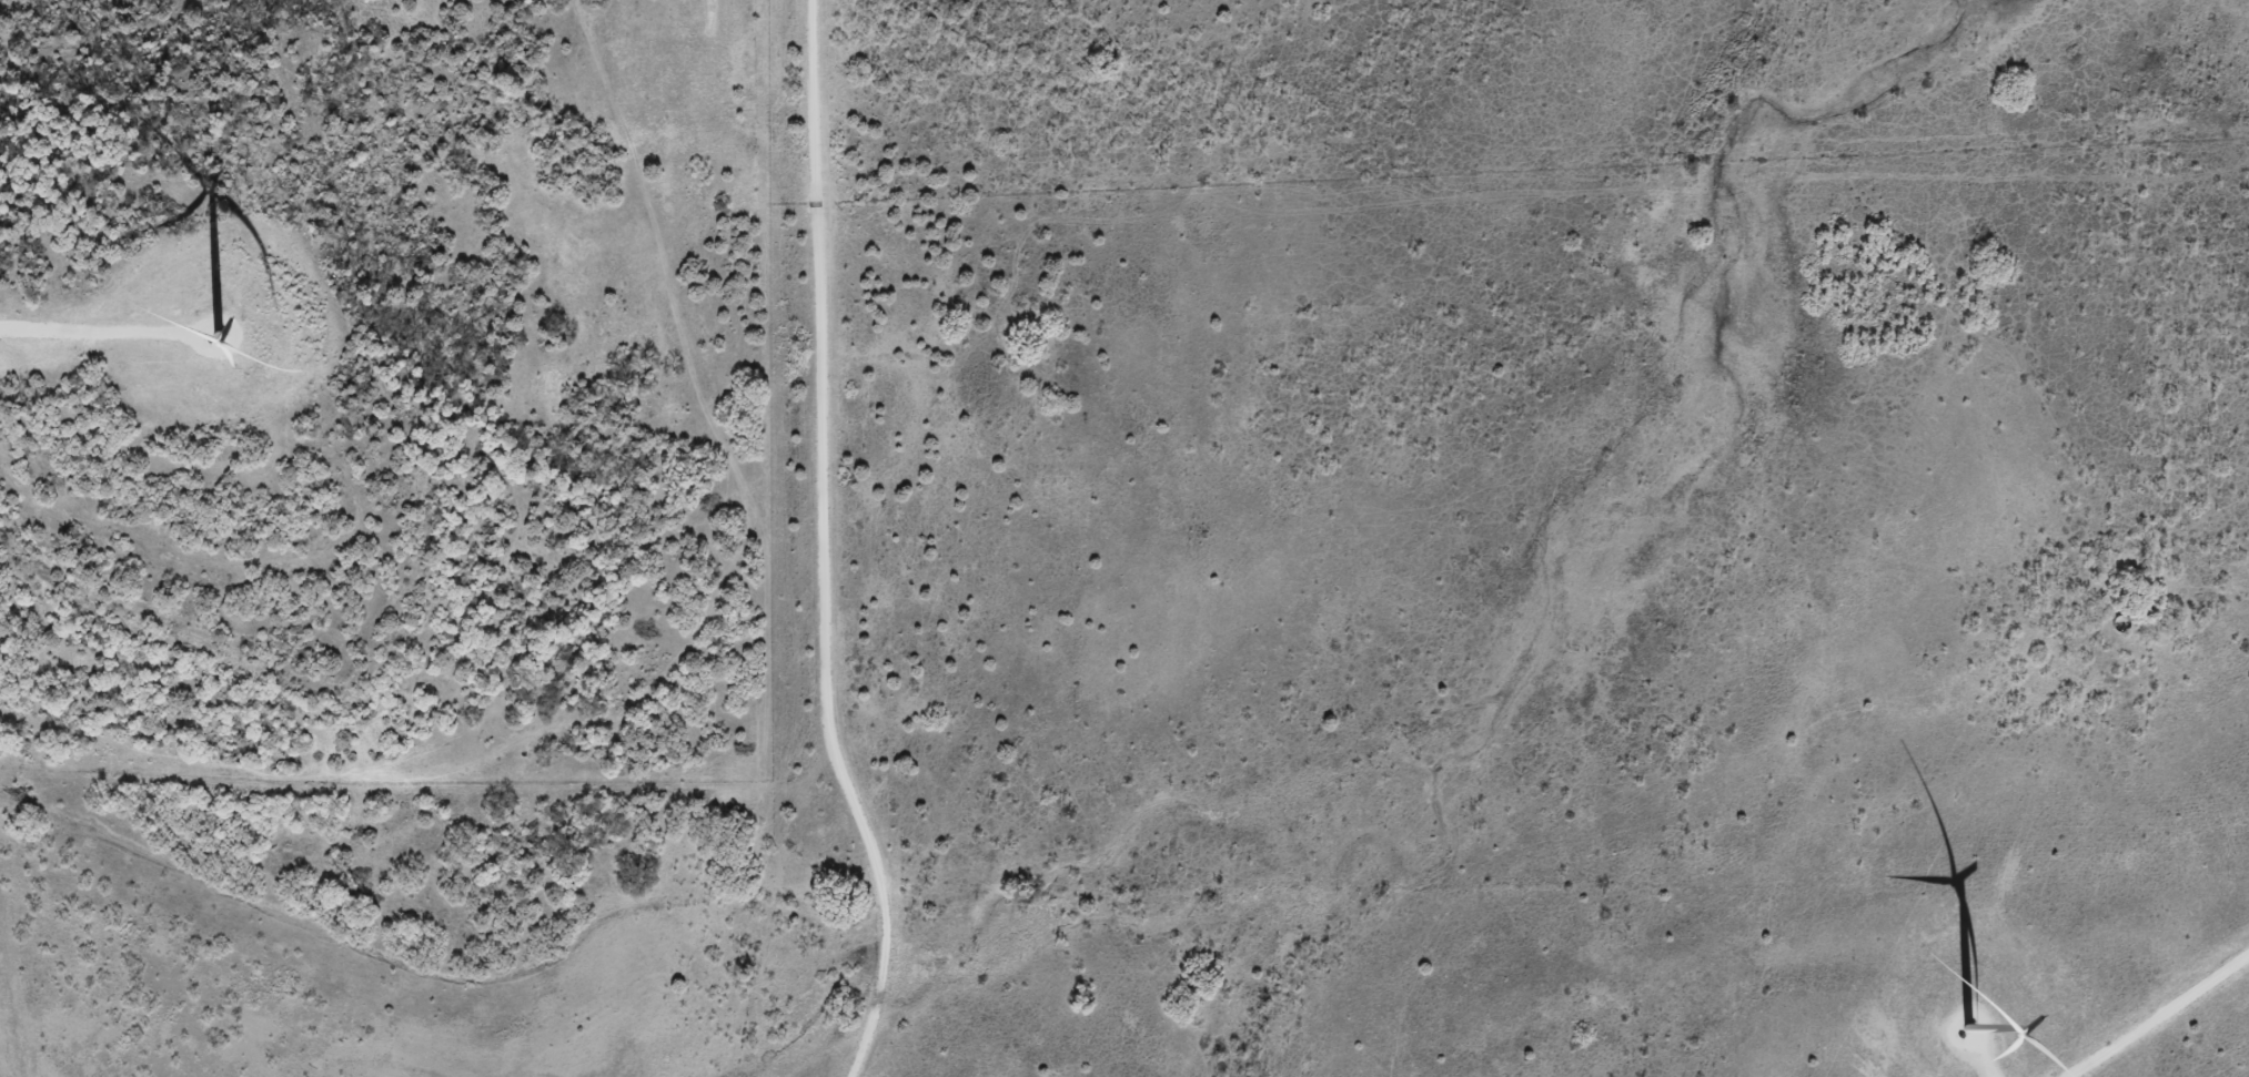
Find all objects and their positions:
road: (85, 321)
wind turbine: (216, 334)
road: (821, 548)
road: (2156, 1015)
wind turbine: (1968, 1028)

